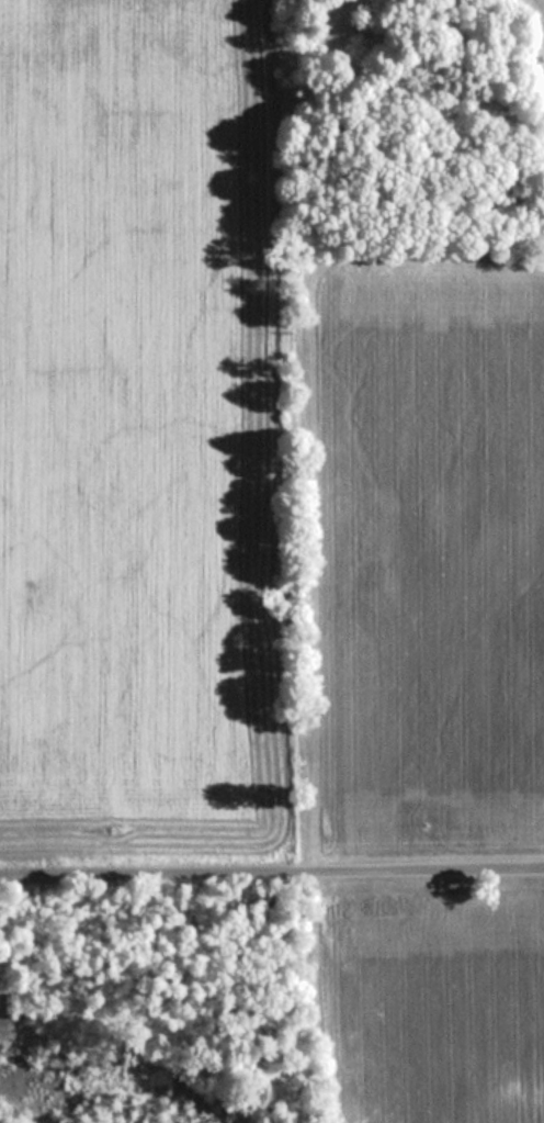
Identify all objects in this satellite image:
road: (271, 872)

